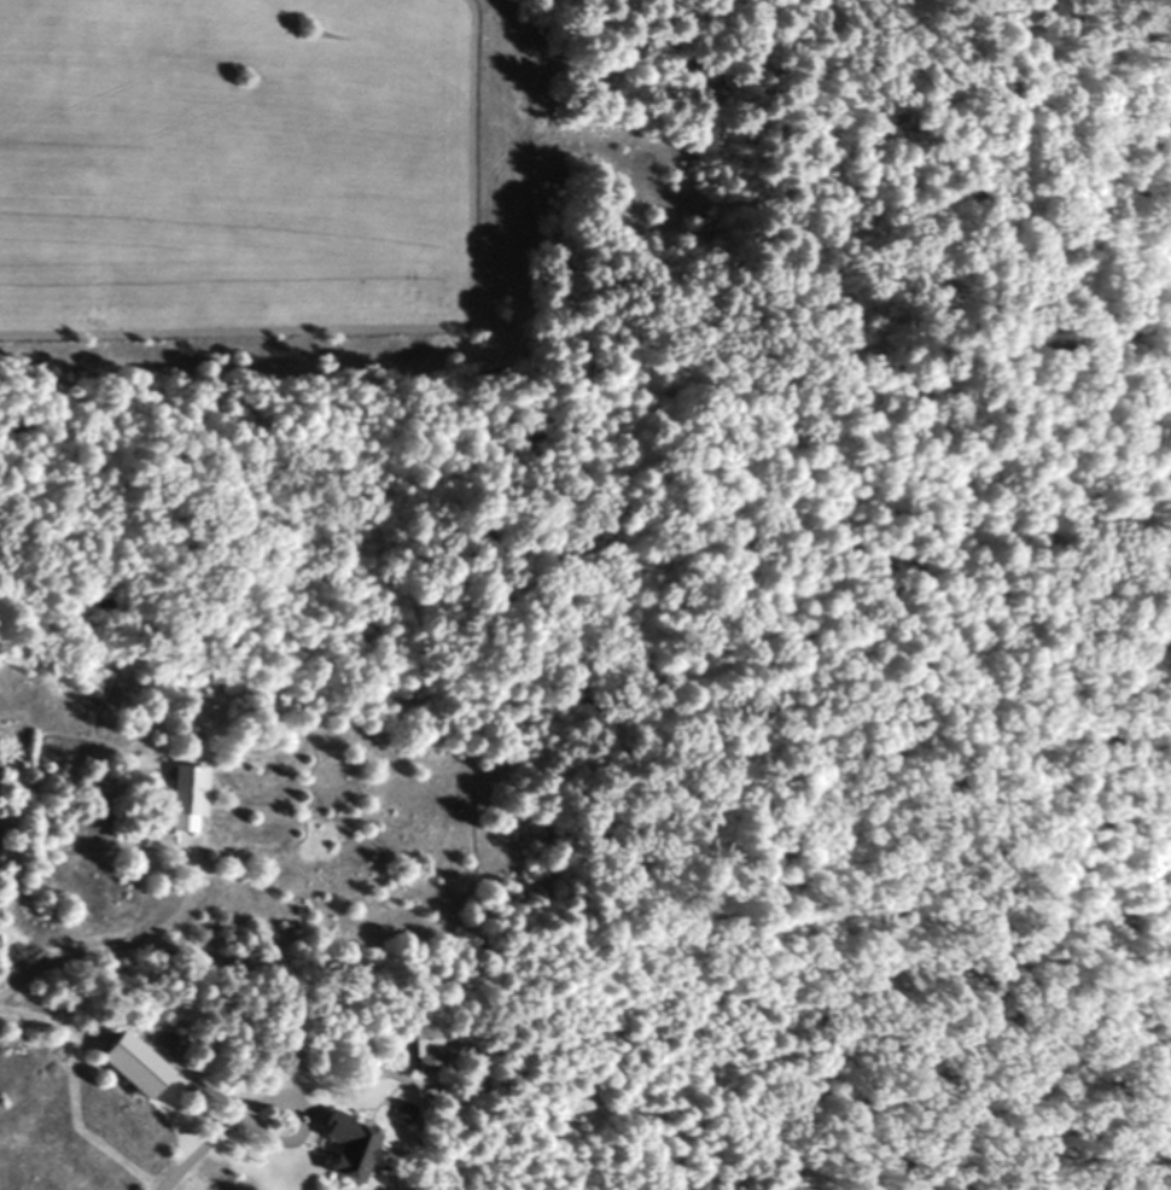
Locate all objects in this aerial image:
building: (182, 797)
road: (117, 939)
building: (424, 1050)
building: (397, 1112)
road: (220, 1122)
building: (343, 1147)

